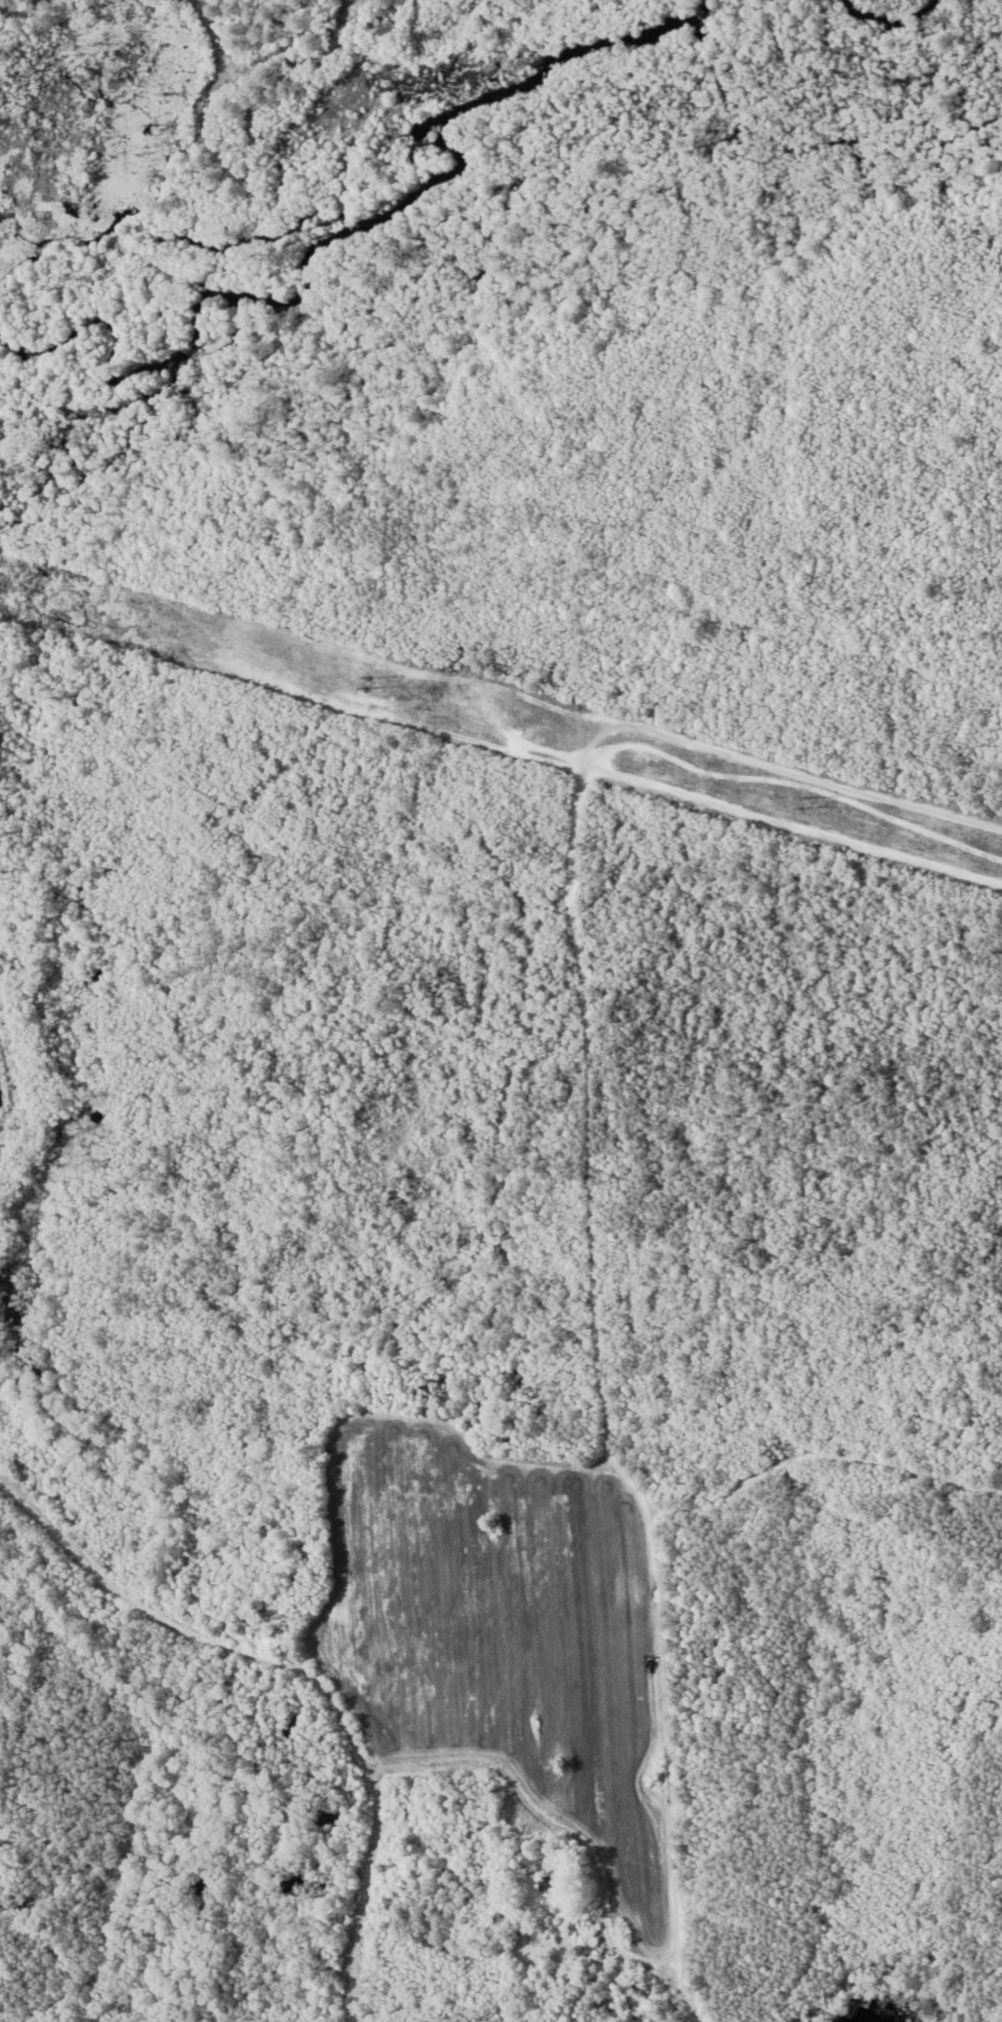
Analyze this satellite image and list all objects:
power tower: (366, 682)
power tower: (804, 802)
building: (552, 1883)
road: (432, 1942)
building: (605, 2002)

